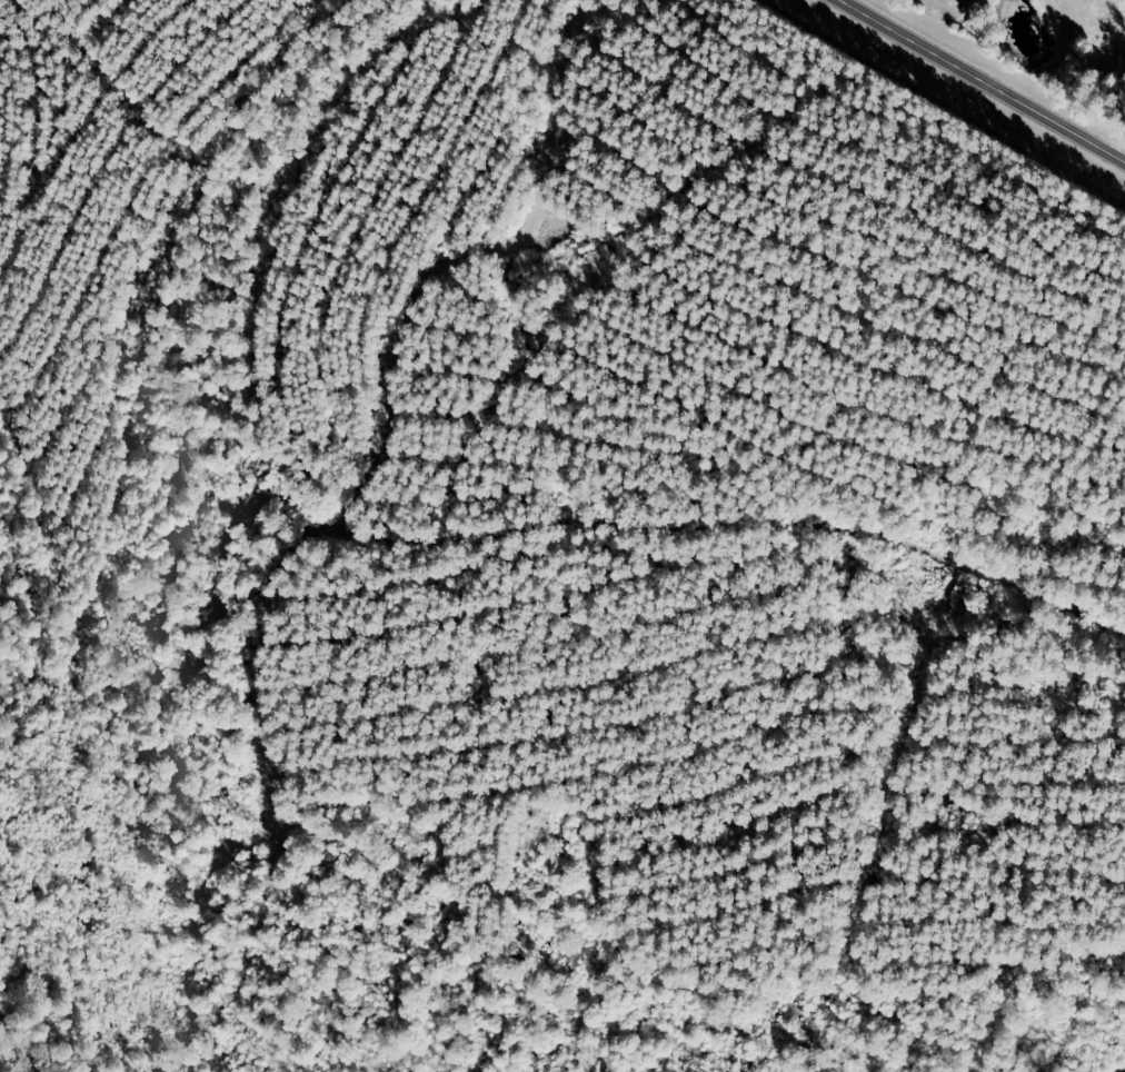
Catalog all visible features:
road: (977, 83)

